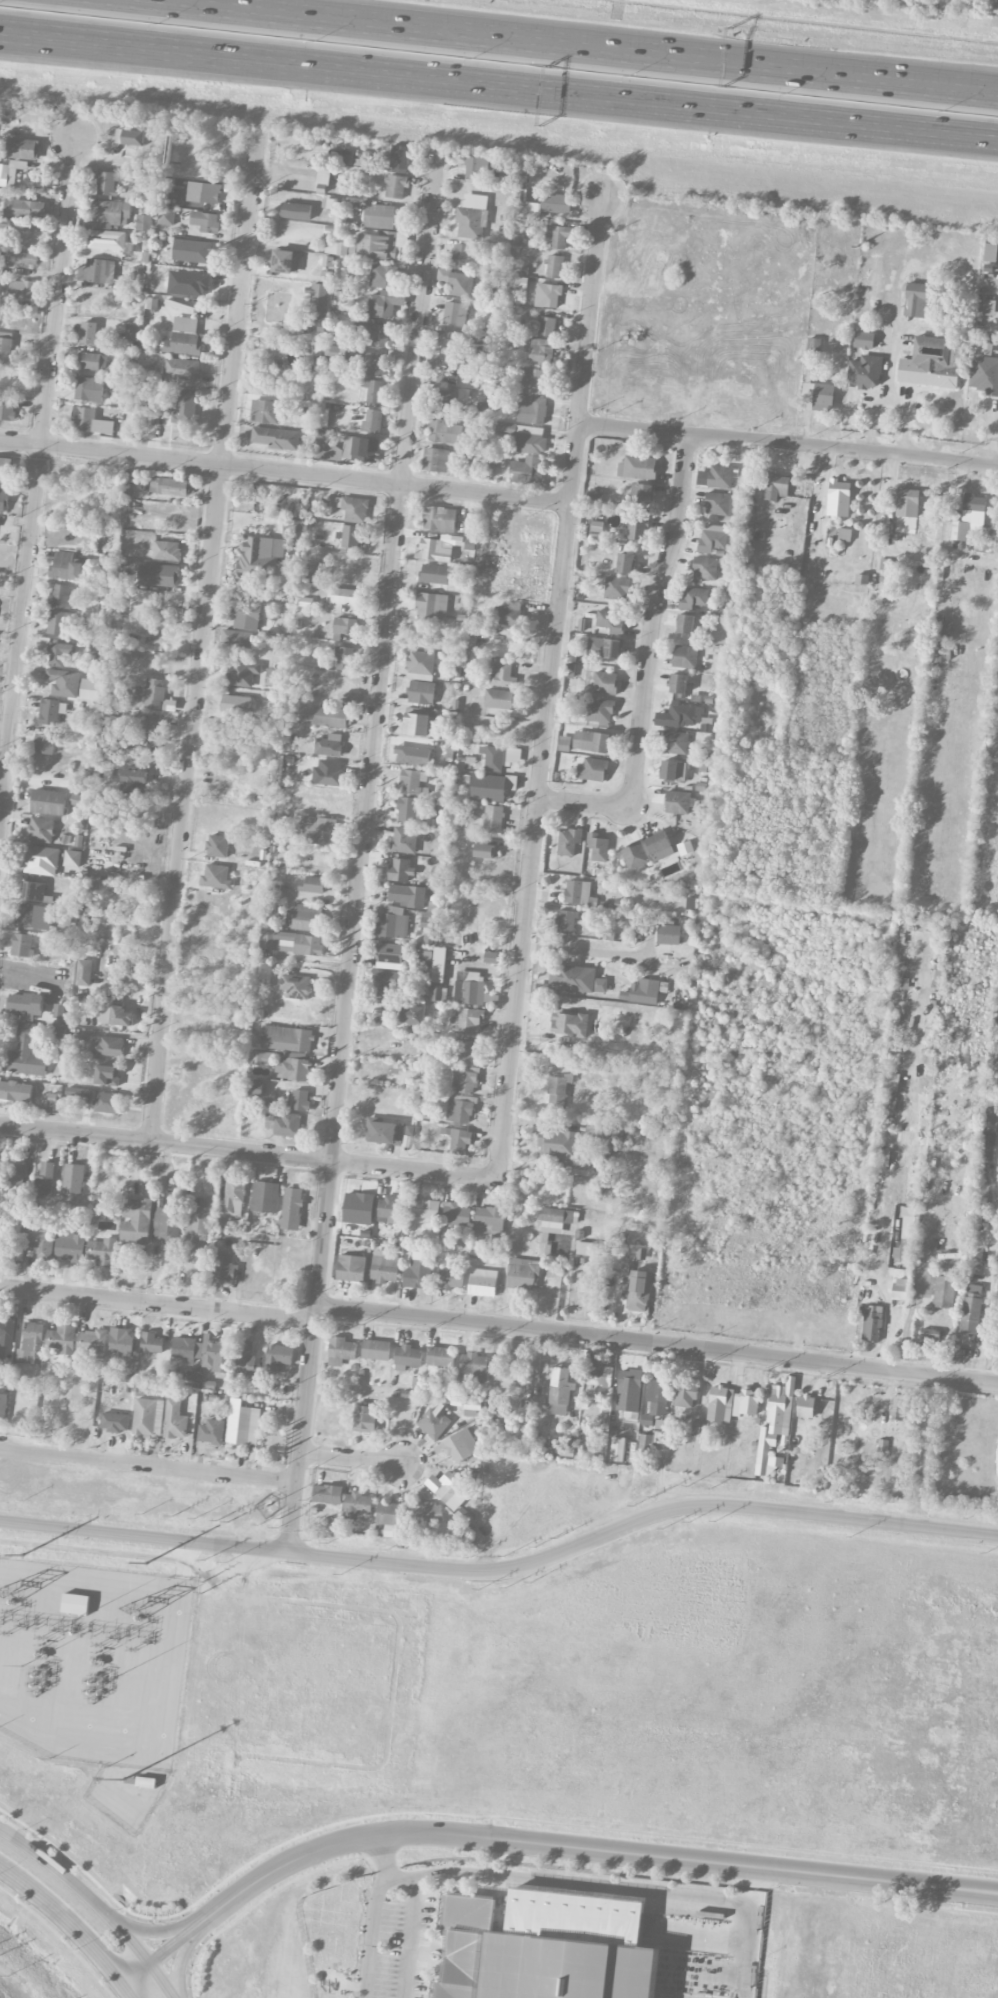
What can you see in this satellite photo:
building: (995, 6)
road: (562, 49)
road: (493, 81)
road: (992, 136)
road: (992, 136)
building: (129, 137)
building: (22, 149)
building: (399, 159)
building: (476, 167)
building: (10, 172)
building: (323, 177)
building: (106, 183)
building: (396, 186)
building: (203, 192)
building: (557, 203)
building: (24, 208)
building: (529, 209)
building: (296, 211)
building: (107, 215)
building: (166, 216)
building: (383, 216)
building: (471, 217)
building: (205, 221)
building: (144, 223)
building: (558, 236)
building: (109, 240)
building: (361, 244)
building: (384, 245)
building: (346, 249)
building: (191, 251)
building: (990, 252)
building: (461, 255)
building: (22, 258)
building: (285, 261)
building: (554, 266)
building: (96, 271)
building: (382, 276)
building: (457, 282)
building: (21, 289)
building: (548, 295)
building: (916, 300)
building: (317, 303)
building: (385, 303)
building: (455, 314)
building: (185, 324)
building: (547, 326)
building: (88, 332)
building: (132, 332)
building: (374, 333)
building: (864, 340)
building: (451, 342)
building: (184, 344)
building: (332, 351)
building: (478, 351)
building: (541, 351)
building: (92, 361)
building: (931, 363)
building: (372, 364)
building: (182, 368)
building: (447, 372)
building: (865, 372)
building: (984, 374)
building: (536, 381)
building: (89, 389)
building: (373, 390)
building: (818, 396)
building: (448, 398)
building: (185, 407)
building: (480, 407)
building: (7, 409)
building: (532, 409)
building: (265, 411)
building: (90, 421)
building: (372, 421)
building: (509, 428)
building: (444, 432)
building: (276, 438)
building: (530, 443)
road: (788, 443)
building: (348, 449)
building: (436, 459)
building: (638, 467)
building: (6, 470)
building: (527, 470)
road: (284, 472)
road: (35, 475)
building: (720, 476)
building: (169, 486)
building: (776, 486)
building: (641, 493)
building: (593, 497)
building: (838, 498)
building: (3, 501)
building: (907, 502)
building: (718, 504)
building: (355, 509)
building: (969, 518)
building: (439, 519)
building: (597, 526)
building: (294, 528)
building: (637, 528)
building: (352, 536)
building: (712, 538)
building: (166, 550)
building: (432, 550)
building: (259, 556)
building: (625, 563)
building: (68, 566)
building: (704, 568)
building: (885, 569)
building: (310, 572)
building: (434, 574)
building: (158, 575)
building: (616, 588)
building: (105, 593)
building: (59, 596)
building: (693, 597)
building: (340, 599)
building: (142, 604)
building: (431, 606)
building: (507, 614)
building: (246, 615)
building: (610, 620)
road: (652, 621)
building: (57, 622)
building: (685, 624)
building: (345, 626)
building: (944, 631)
road: (200, 637)
building: (237, 639)
building: (470, 645)
building: (603, 648)
building: (54, 650)
building: (685, 656)
building: (344, 658)
building: (420, 665)
building: (242, 673)
building: (501, 674)
building: (273, 678)
building: (63, 682)
building: (605, 683)
building: (678, 683)
road: (549, 687)
building: (90, 689)
building: (421, 692)
building: (151, 693)
building: (499, 699)
building: (236, 704)
building: (51, 711)
building: (600, 712)
building: (680, 715)
building: (325, 716)
building: (420, 722)
building: (496, 729)
building: (591, 741)
building: (675, 742)
building: (564, 743)
building: (45, 744)
building: (328, 745)
building: (412, 755)
building: (499, 757)
building: (592, 769)
building: (674, 770)
building: (328, 773)
building: (131, 781)
building: (410, 782)
building: (491, 787)
building: (48, 802)
building: (678, 802)
road: (583, 805)
building: (410, 809)
building: (493, 818)
building: (41, 829)
building: (320, 830)
building: (403, 840)
building: (568, 841)
building: (217, 845)
building: (659, 846)
building: (597, 847)
building: (685, 848)
road: (362, 850)
building: (486, 851)
building: (634, 856)
building: (72, 858)
building: (41, 860)
building: (401, 869)
building: (216, 877)
building: (311, 885)
building: (32, 891)
building: (577, 892)
building: (408, 895)
building: (34, 917)
building: (305, 918)
building: (566, 921)
building: (393, 922)
building: (668, 934)
building: (292, 942)
building: (22, 945)
road: (597, 953)
building: (390, 956)
building: (439, 964)
building: (264, 971)
building: (83, 972)
building: (576, 979)
building: (901, 982)
building: (388, 983)
building: (296, 986)
building: (471, 988)
building: (437, 992)
building: (642, 992)
building: (24, 1005)
building: (58, 1011)
building: (114, 1014)
building: (414, 1017)
building: (468, 1020)
building: (569, 1024)
building: (286, 1038)
building: (109, 1046)
building: (464, 1051)
building: (25, 1054)
building: (258, 1057)
building: (292, 1067)
building: (107, 1075)
building: (465, 1079)
building: (891, 1081)
building: (256, 1089)
building: (15, 1091)
building: (557, 1091)
building: (79, 1092)
building: (300, 1100)
building: (107, 1102)
building: (460, 1109)
building: (269, 1120)
building: (287, 1125)
building: (385, 1132)
building: (458, 1139)
building: (609, 1139)
building: (987, 1144)
building: (559, 1145)
road: (247, 1153)
building: (884, 1156)
building: (18, 1174)
building: (73, 1179)
building: (44, 1181)
building: (234, 1194)
building: (265, 1197)
building: (291, 1208)
building: (358, 1208)
building: (424, 1208)
building: (390, 1210)
building: (455, 1214)
building: (489, 1217)
building: (555, 1217)
building: (136, 1220)
building: (169, 1225)
building: (200, 1229)
building: (906, 1236)
building: (40, 1242)
building: (69, 1247)
building: (4, 1248)
building: (588, 1248)
building: (103, 1252)
building: (384, 1267)
building: (351, 1268)
building: (224, 1270)
building: (418, 1270)
building: (522, 1274)
building: (449, 1278)
building: (482, 1282)
building: (900, 1289)
building: (943, 1292)
road: (157, 1304)
building: (970, 1313)
building: (7, 1330)
building: (929, 1338)
building: (61, 1339)
building: (121, 1341)
building: (31, 1343)
building: (92, 1343)
building: (151, 1343)
road: (657, 1343)
building: (187, 1349)
building: (376, 1349)
building: (341, 1350)
building: (218, 1356)
building: (408, 1356)
building: (278, 1357)
building: (441, 1357)
building: (246, 1360)
building: (473, 1368)
building: (600, 1376)
building: (512, 1377)
building: (207, 1385)
building: (629, 1390)
building: (560, 1391)
building: (685, 1395)
building: (657, 1397)
building: (746, 1403)
building: (897, 1403)
building: (720, 1404)
building: (805, 1406)
building: (2, 1407)
building: (145, 1416)
building: (365, 1417)
building: (174, 1420)
building: (435, 1421)
building: (114, 1422)
building: (242, 1423)
building: (774, 1426)
building: (211, 1431)
building: (645, 1441)
building: (459, 1446)
building: (618, 1449)
road: (352, 1460)
road: (149, 1466)
building: (449, 1489)
building: (327, 1494)
building: (358, 1503)
building: (426, 1514)
building: (390, 1515)
power tower: (23, 1554)
power tower: (145, 1563)
road: (504, 1571)
building: (76, 1604)
power substation: (95, 1673)
building: (146, 1782)
road: (538, 1843)
road: (382, 1858)
road: (616, 1886)
road: (96, 1903)
road: (70, 1928)
road: (155, 1931)
road: (372, 1935)
road: (414, 1936)
building: (546, 1947)
road: (181, 1960)

